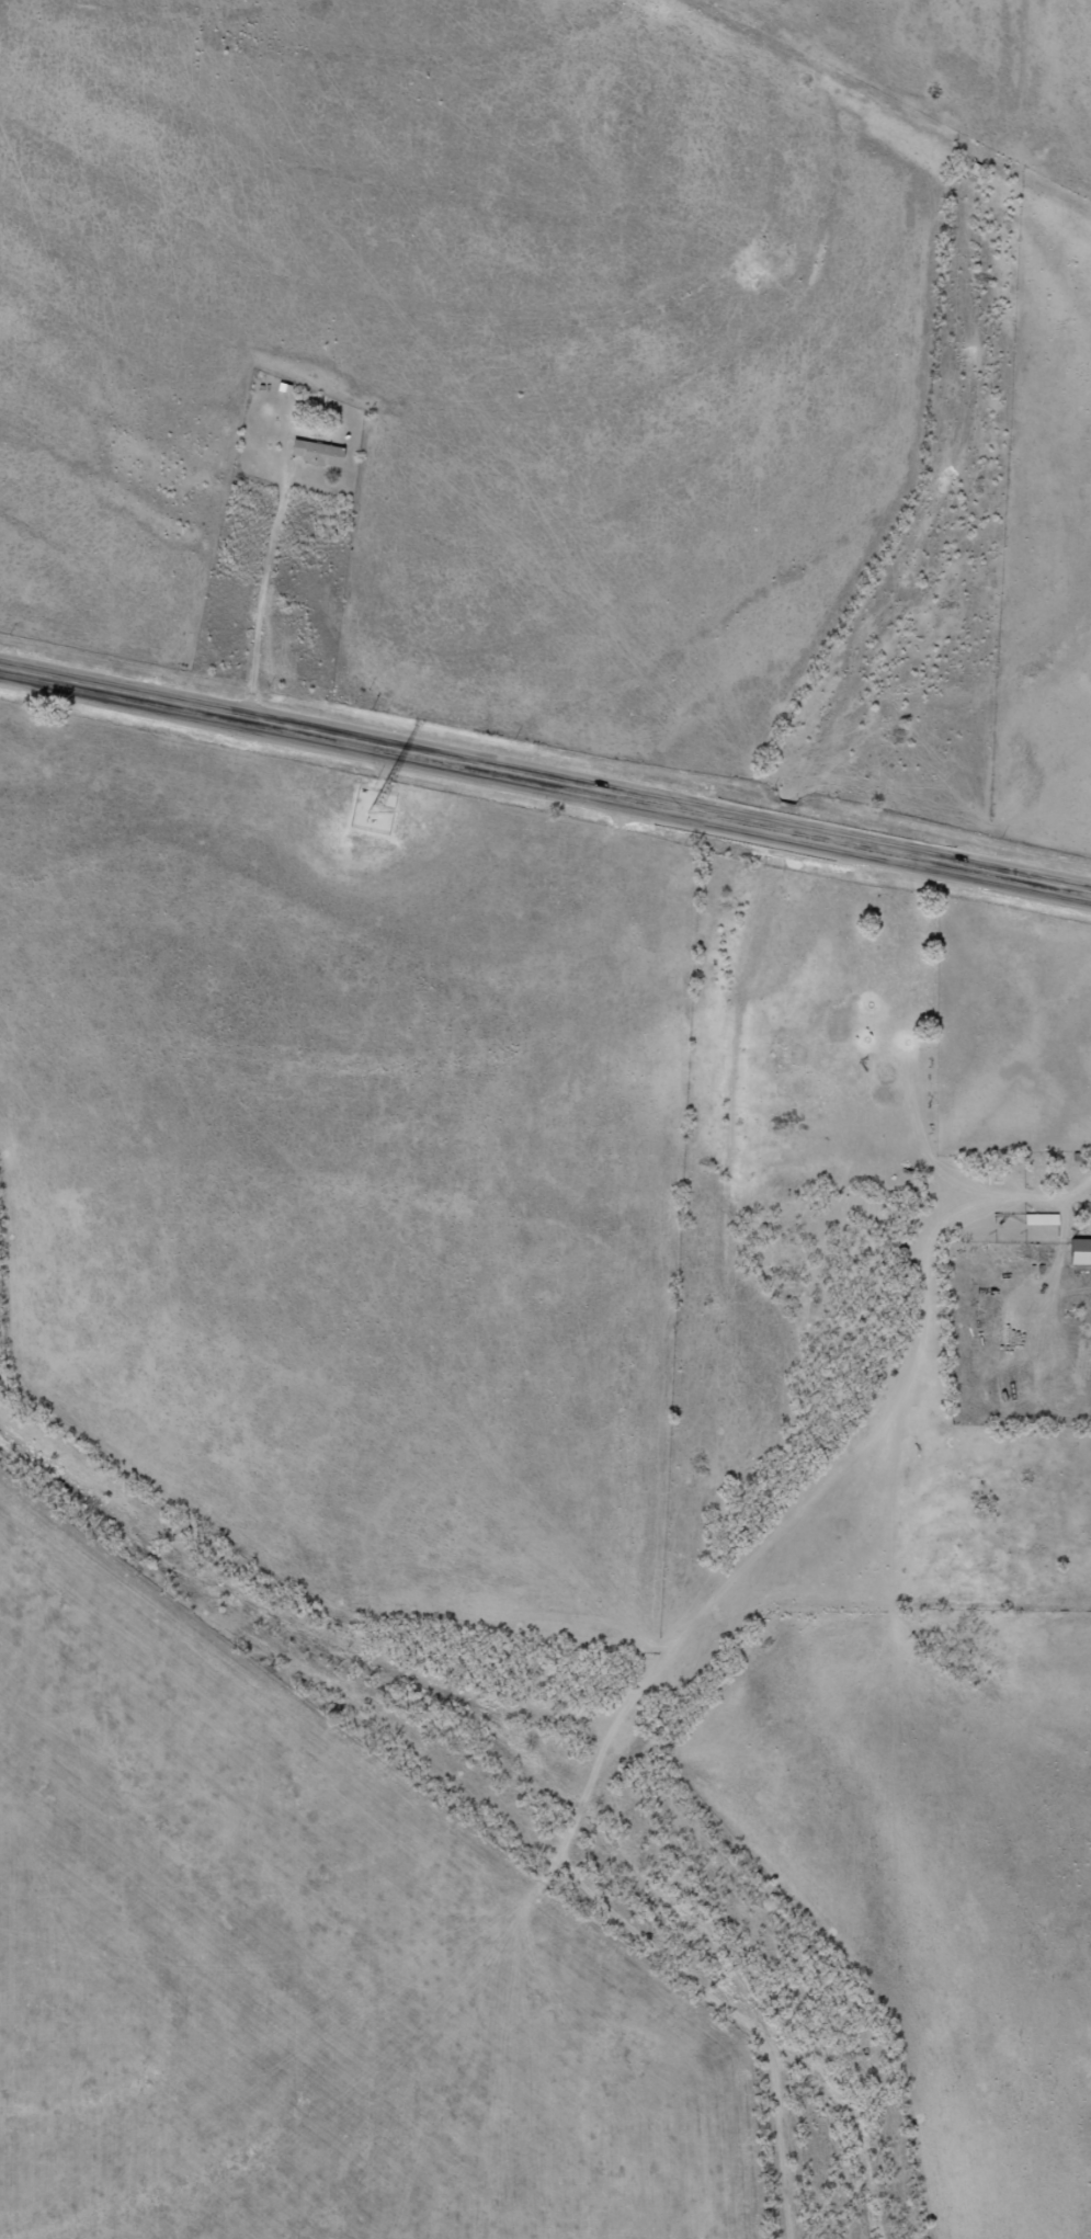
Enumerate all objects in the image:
building: (316, 453)
road: (545, 778)
building: (1079, 1252)

